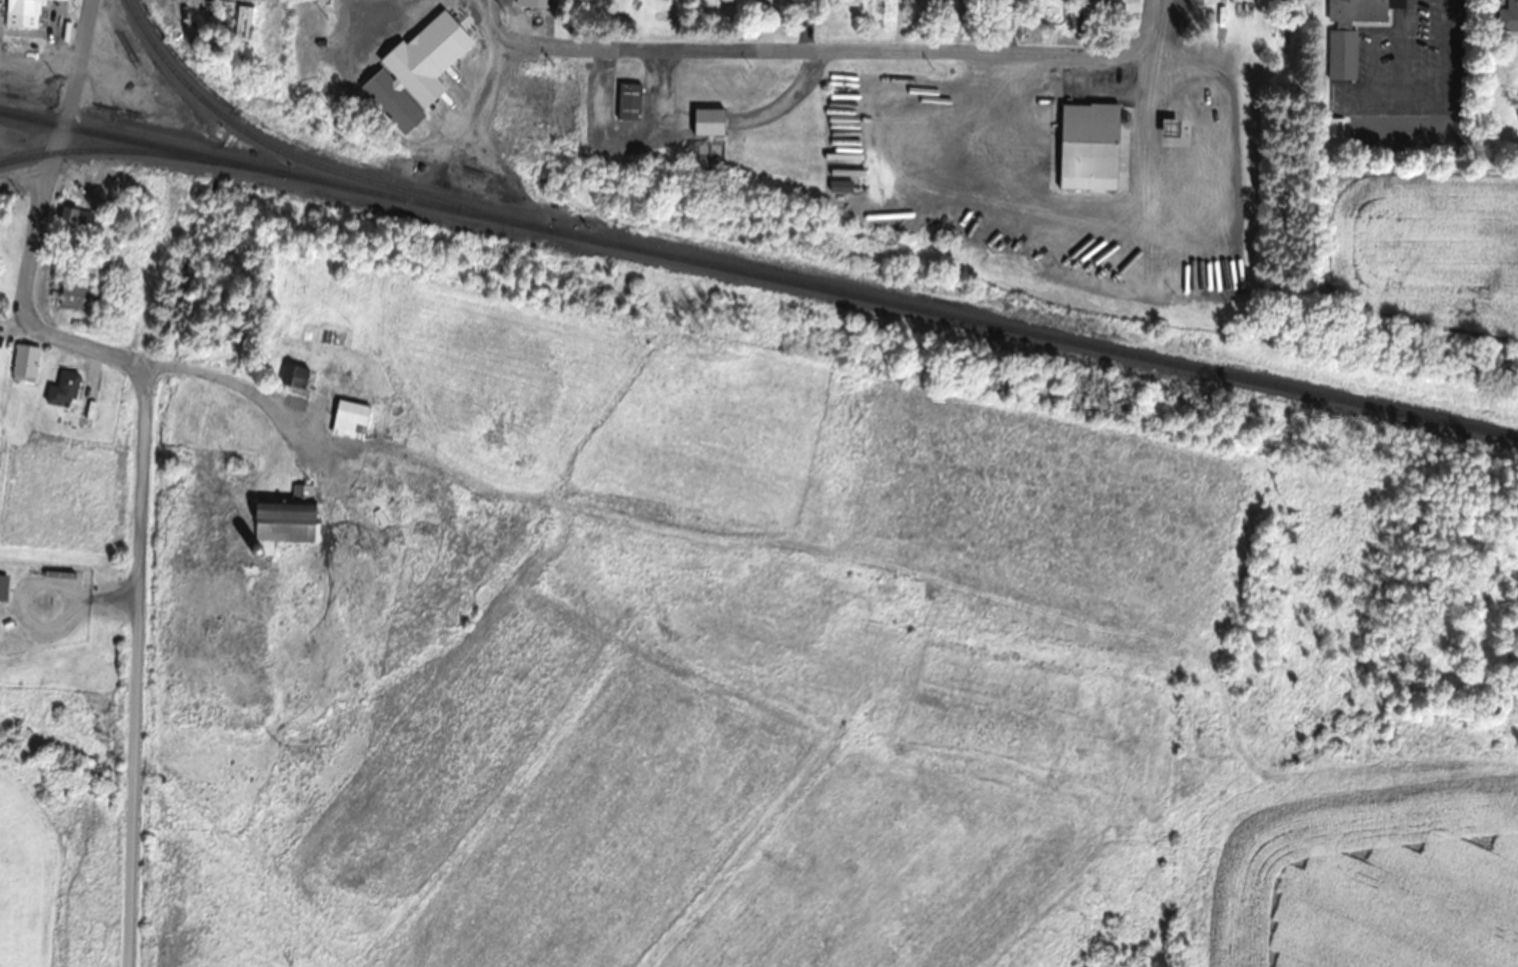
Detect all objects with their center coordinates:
building: (535, 4)
building: (23, 8)
road: (898, 25)
road: (1159, 25)
road: (825, 50)
road: (502, 52)
building: (415, 73)
building: (1416, 89)
building: (629, 103)
building: (708, 121)
building: (1089, 147)
railway: (141, 150)
railway: (306, 161)
building: (75, 221)
railway: (759, 274)
building: (77, 292)
building: (25, 362)
building: (294, 376)
road: (232, 385)
building: (63, 390)
building: (352, 409)
building: (86, 413)
road: (145, 442)
building: (284, 520)
building: (3, 587)
road: (923, 606)

